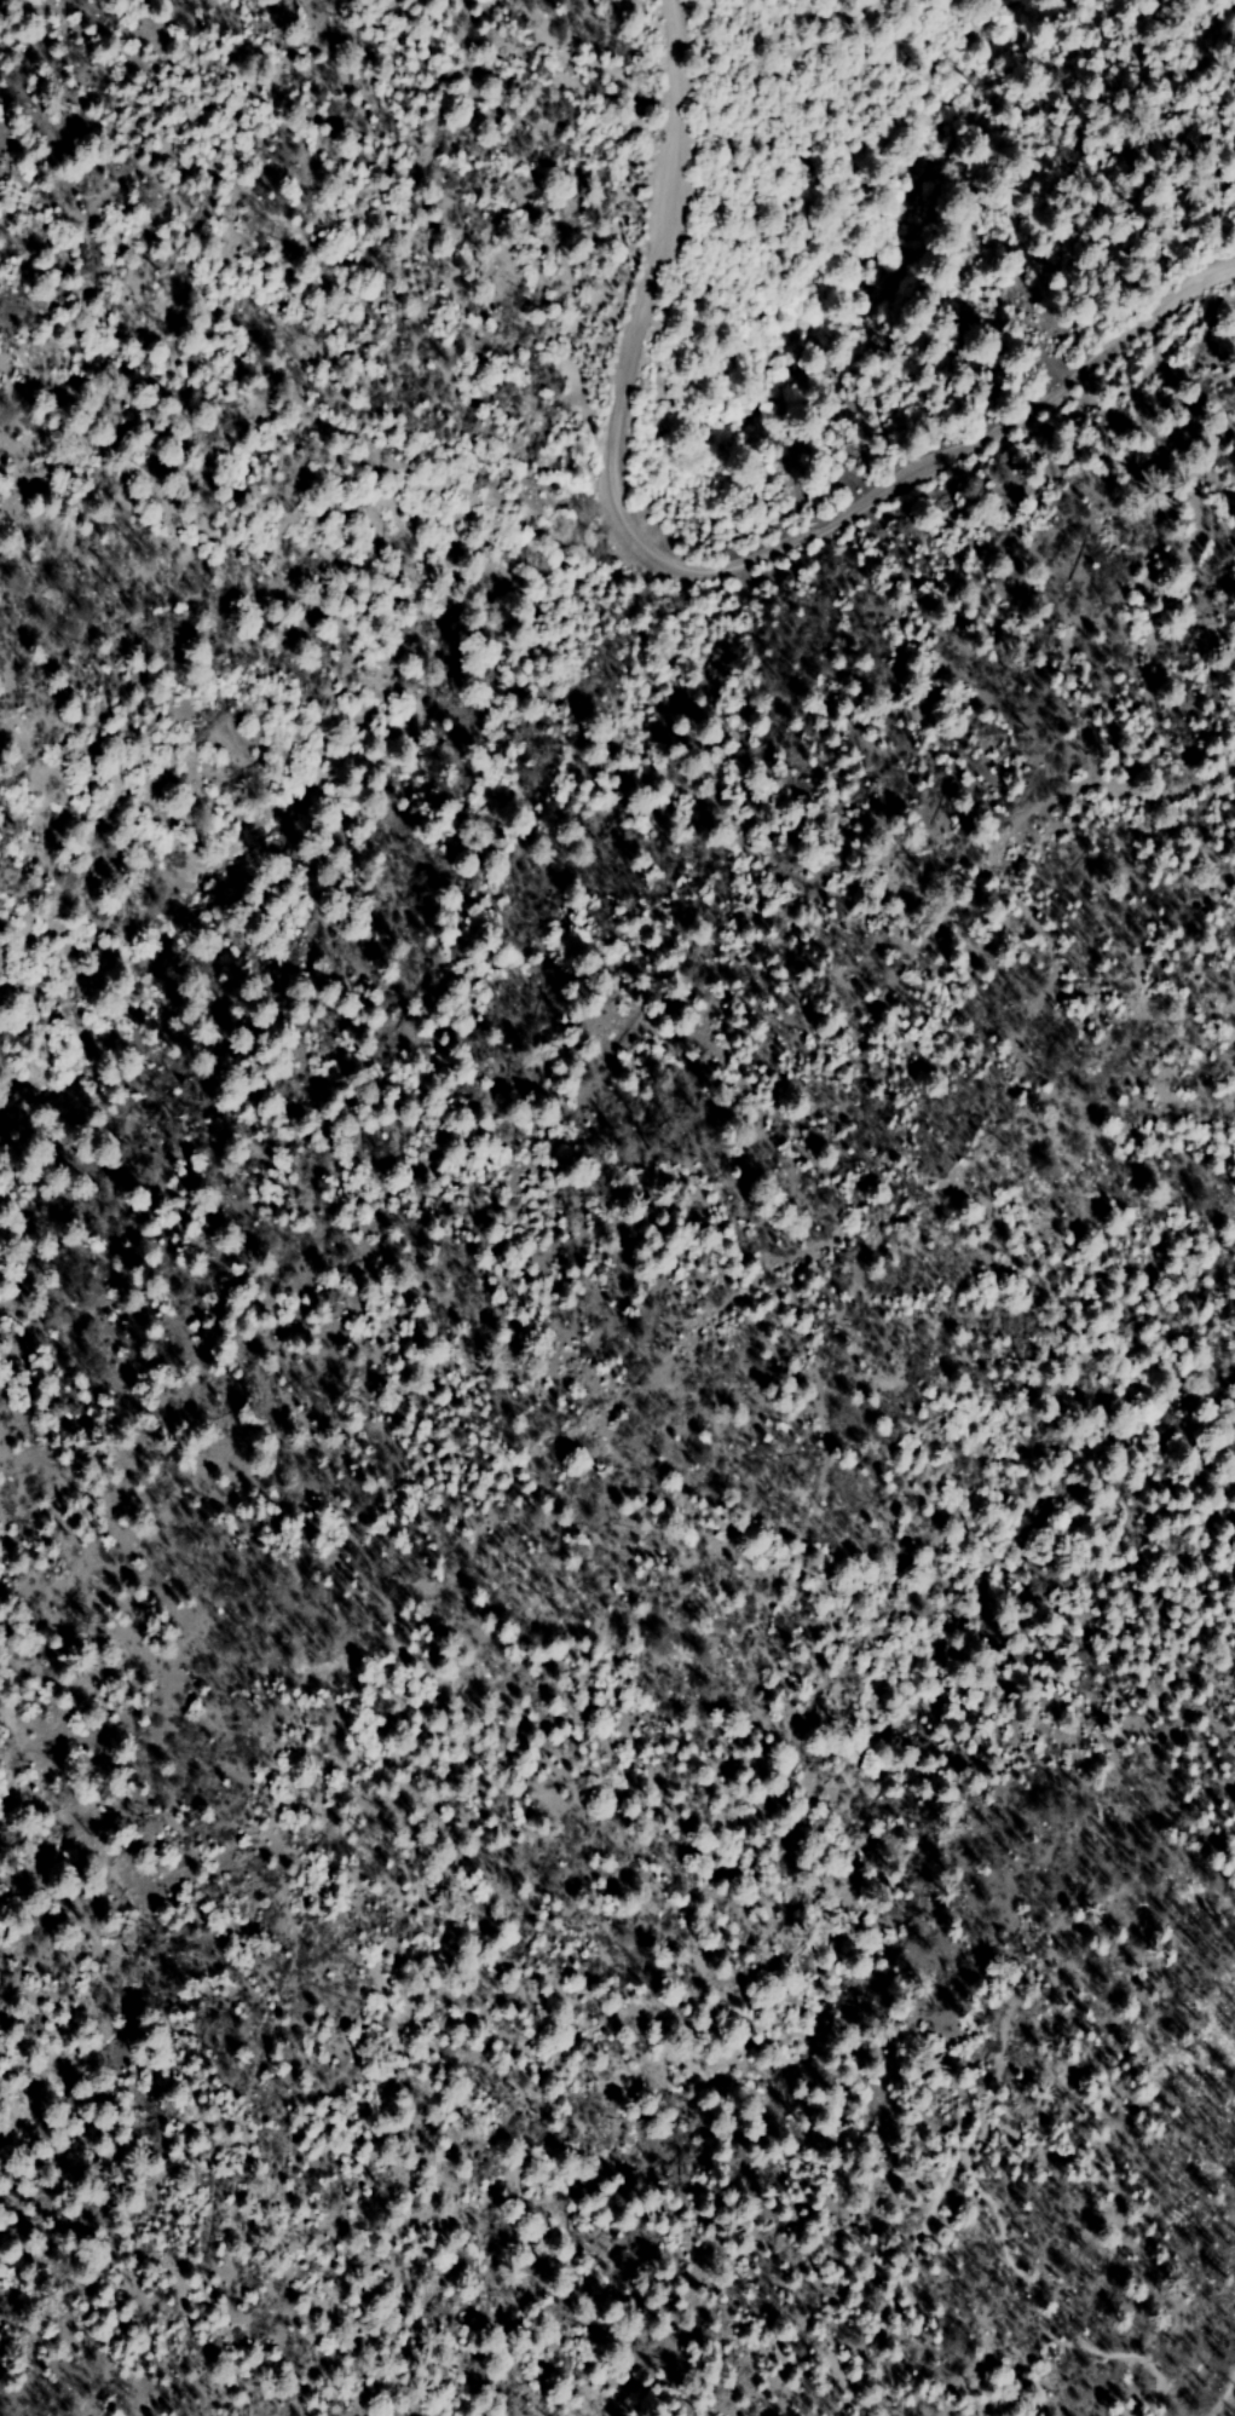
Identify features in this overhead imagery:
road: (700, 575)

